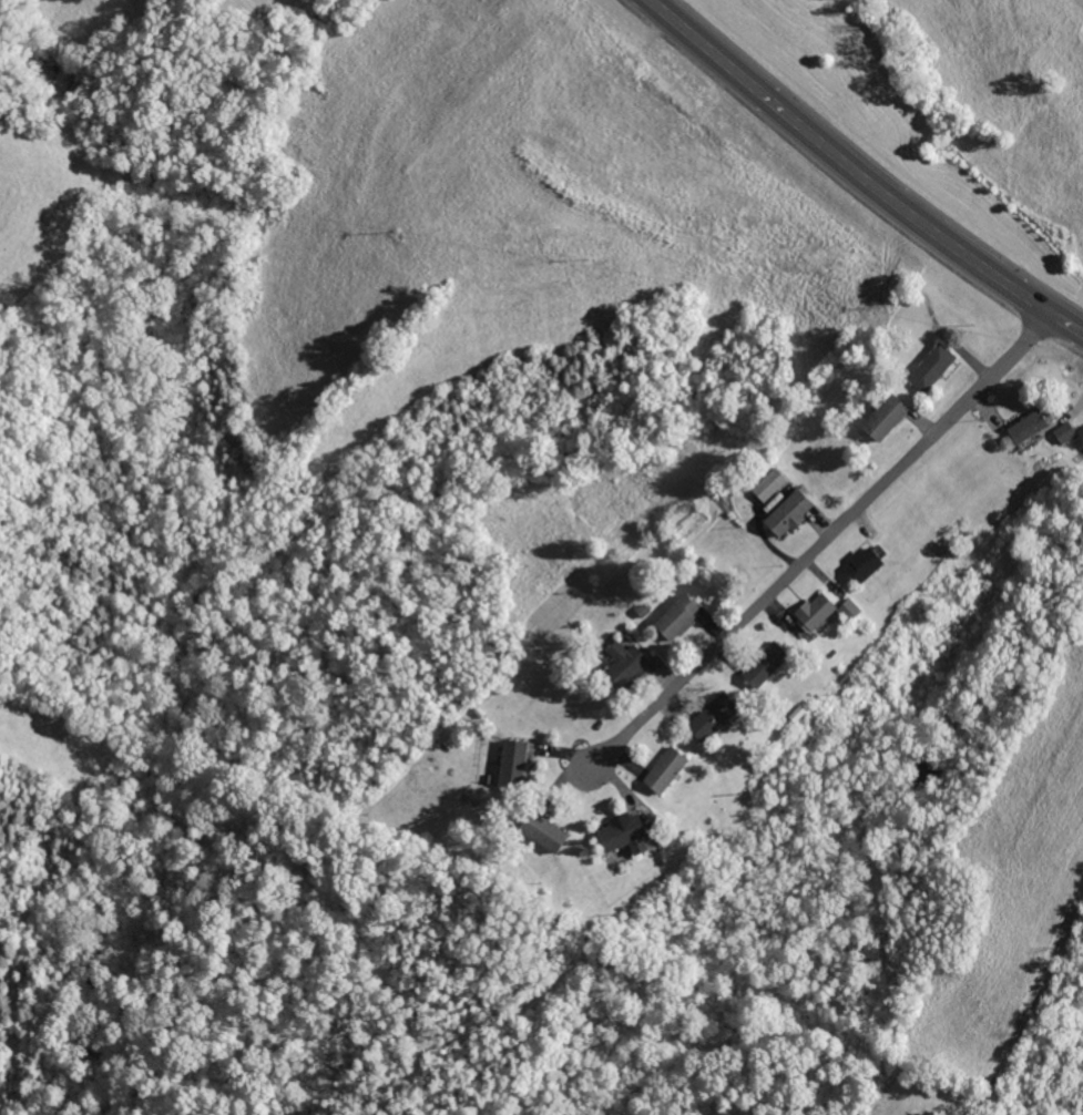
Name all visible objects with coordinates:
road: (859, 174)
building: (929, 367)
building: (881, 417)
building: (1024, 426)
building: (1062, 432)
building: (767, 484)
building: (787, 513)
road: (811, 533)
building: (860, 564)
building: (846, 610)
building: (811, 612)
building: (674, 618)
building: (622, 664)
building: (762, 665)
building: (708, 716)
building: (510, 763)
building: (661, 770)
building: (542, 833)
building: (620, 835)

